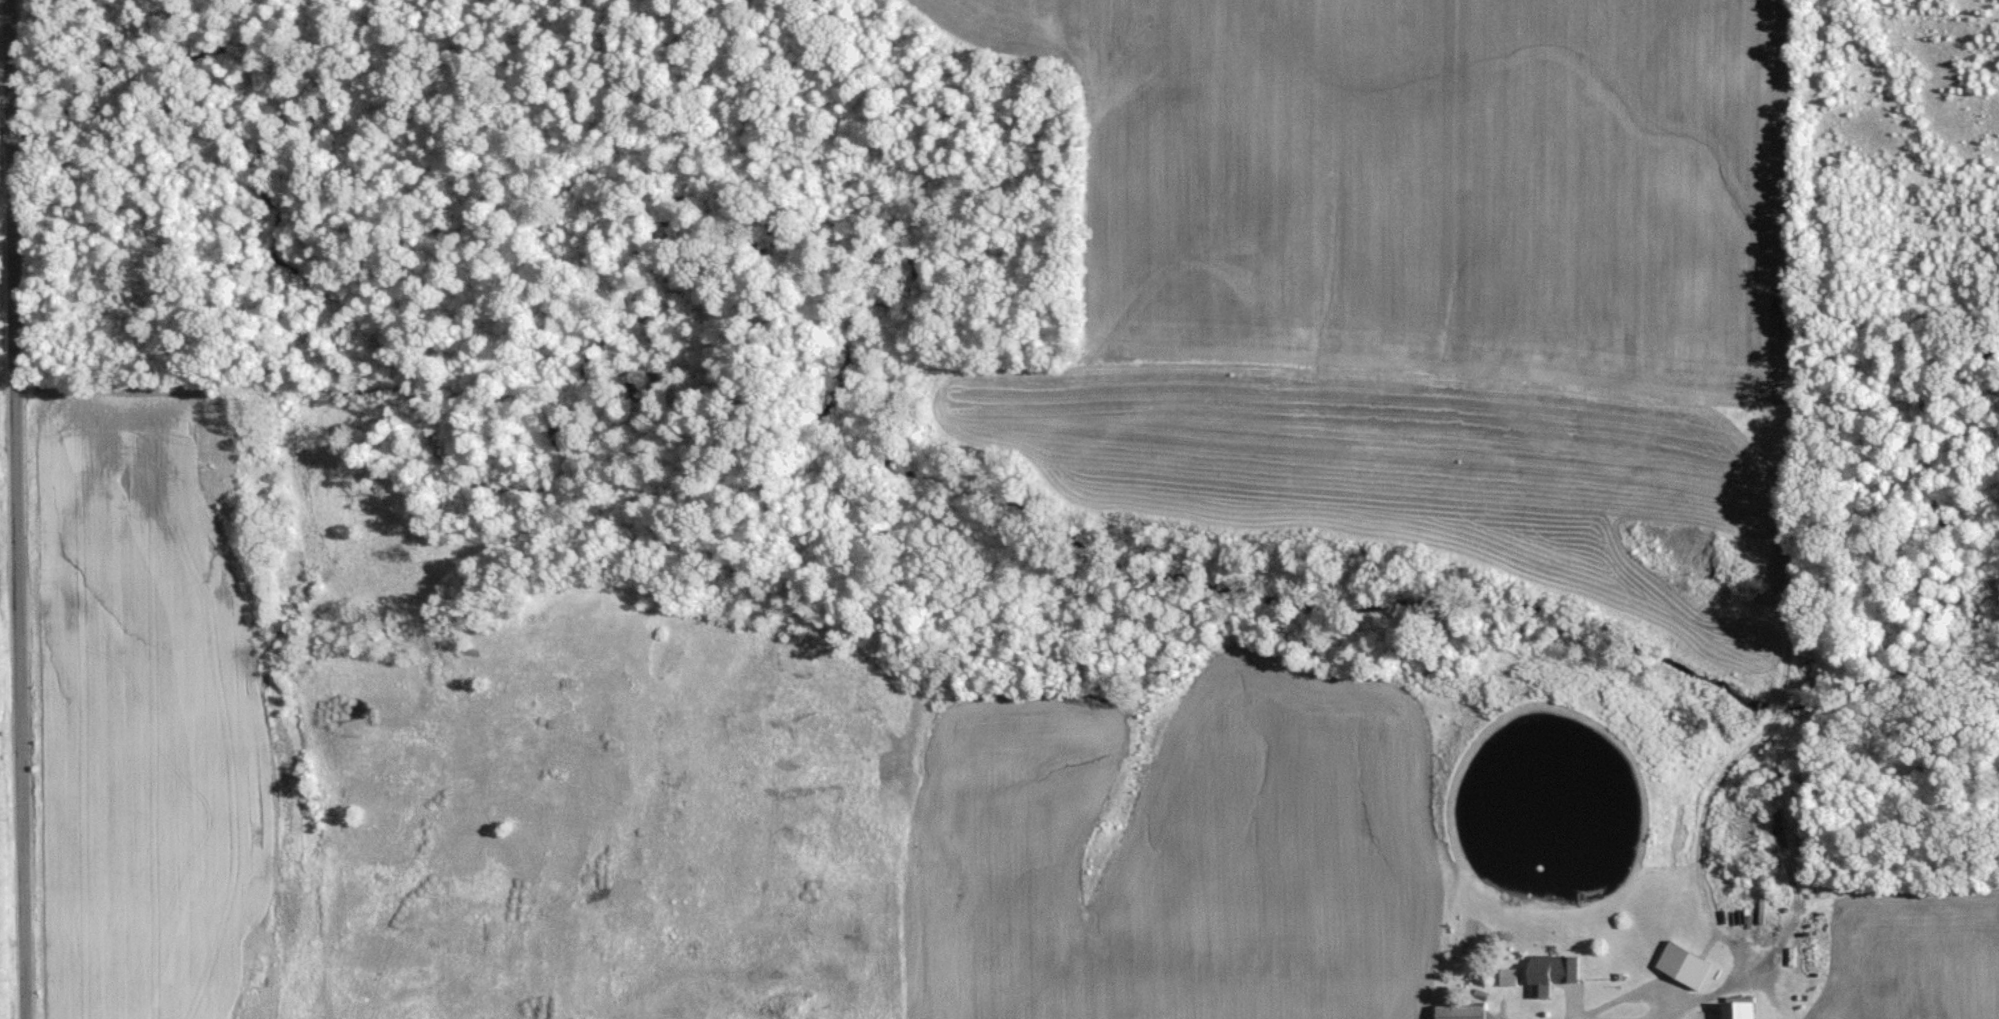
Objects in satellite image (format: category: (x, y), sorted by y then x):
road: (15, 509)
building: (1621, 952)
building: (1688, 962)
building: (1555, 971)
building: (1467, 1011)

